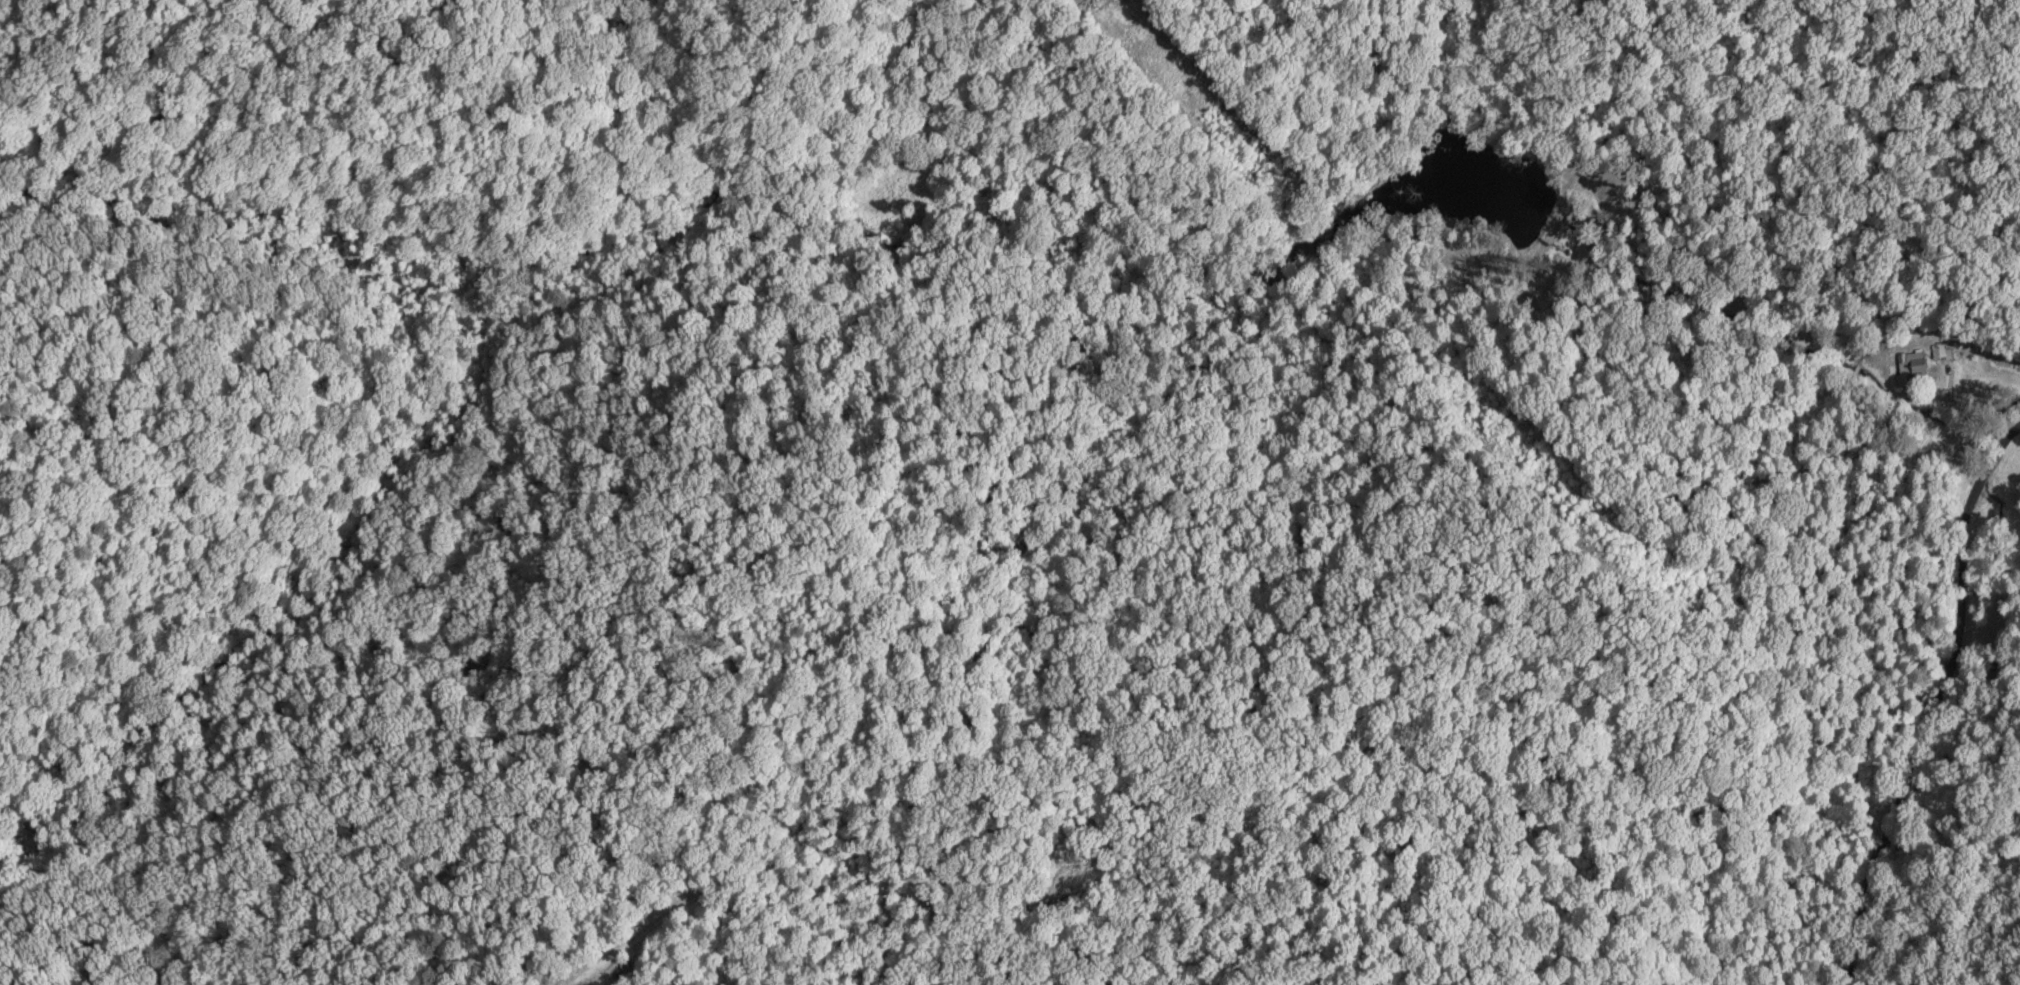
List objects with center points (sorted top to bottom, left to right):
building: (1941, 351)
building: (1912, 367)
road: (1937, 701)

